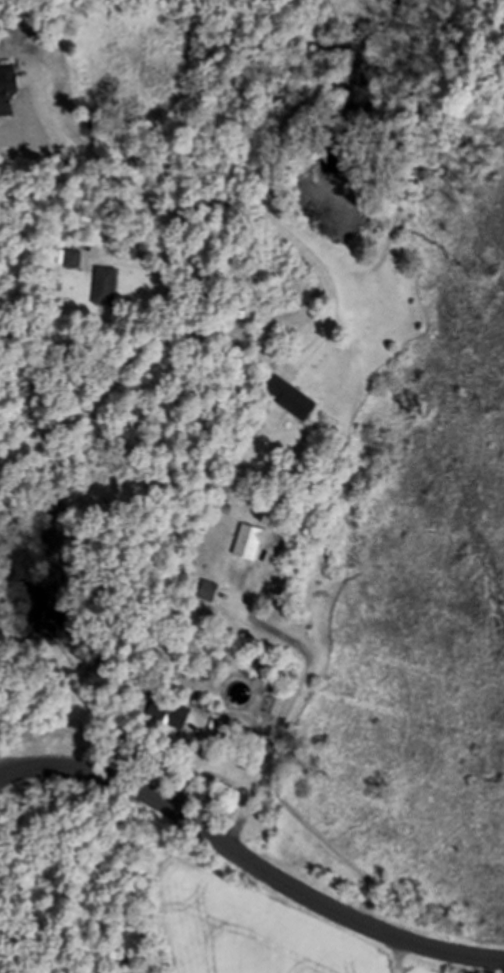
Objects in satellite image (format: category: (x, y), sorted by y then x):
building: (7, 88)
road: (97, 166)
building: (72, 259)
road: (163, 284)
building: (106, 286)
building: (291, 398)
building: (249, 542)
building: (208, 590)
building: (171, 712)
road: (289, 714)
road: (248, 863)

